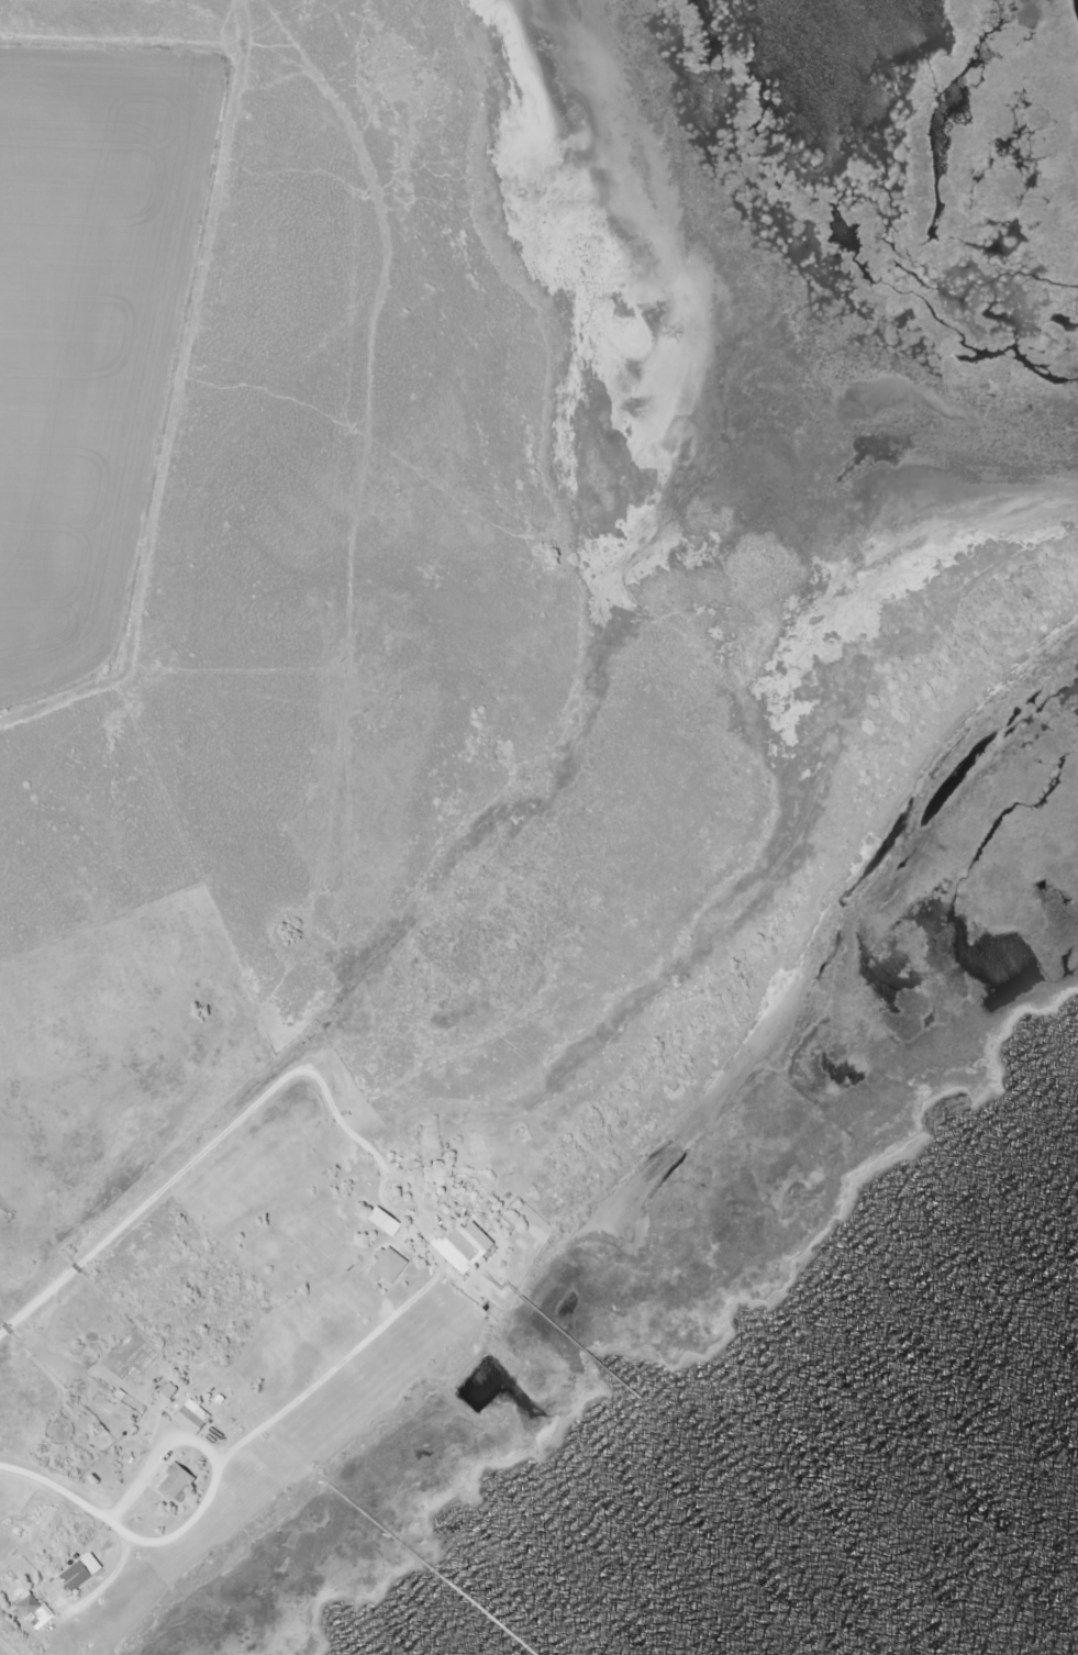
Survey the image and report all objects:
building: (462, 1248)
building: (389, 1268)
building: (193, 1418)
road: (221, 1458)
building: (179, 1484)
building: (78, 1576)
building: (33, 1609)

